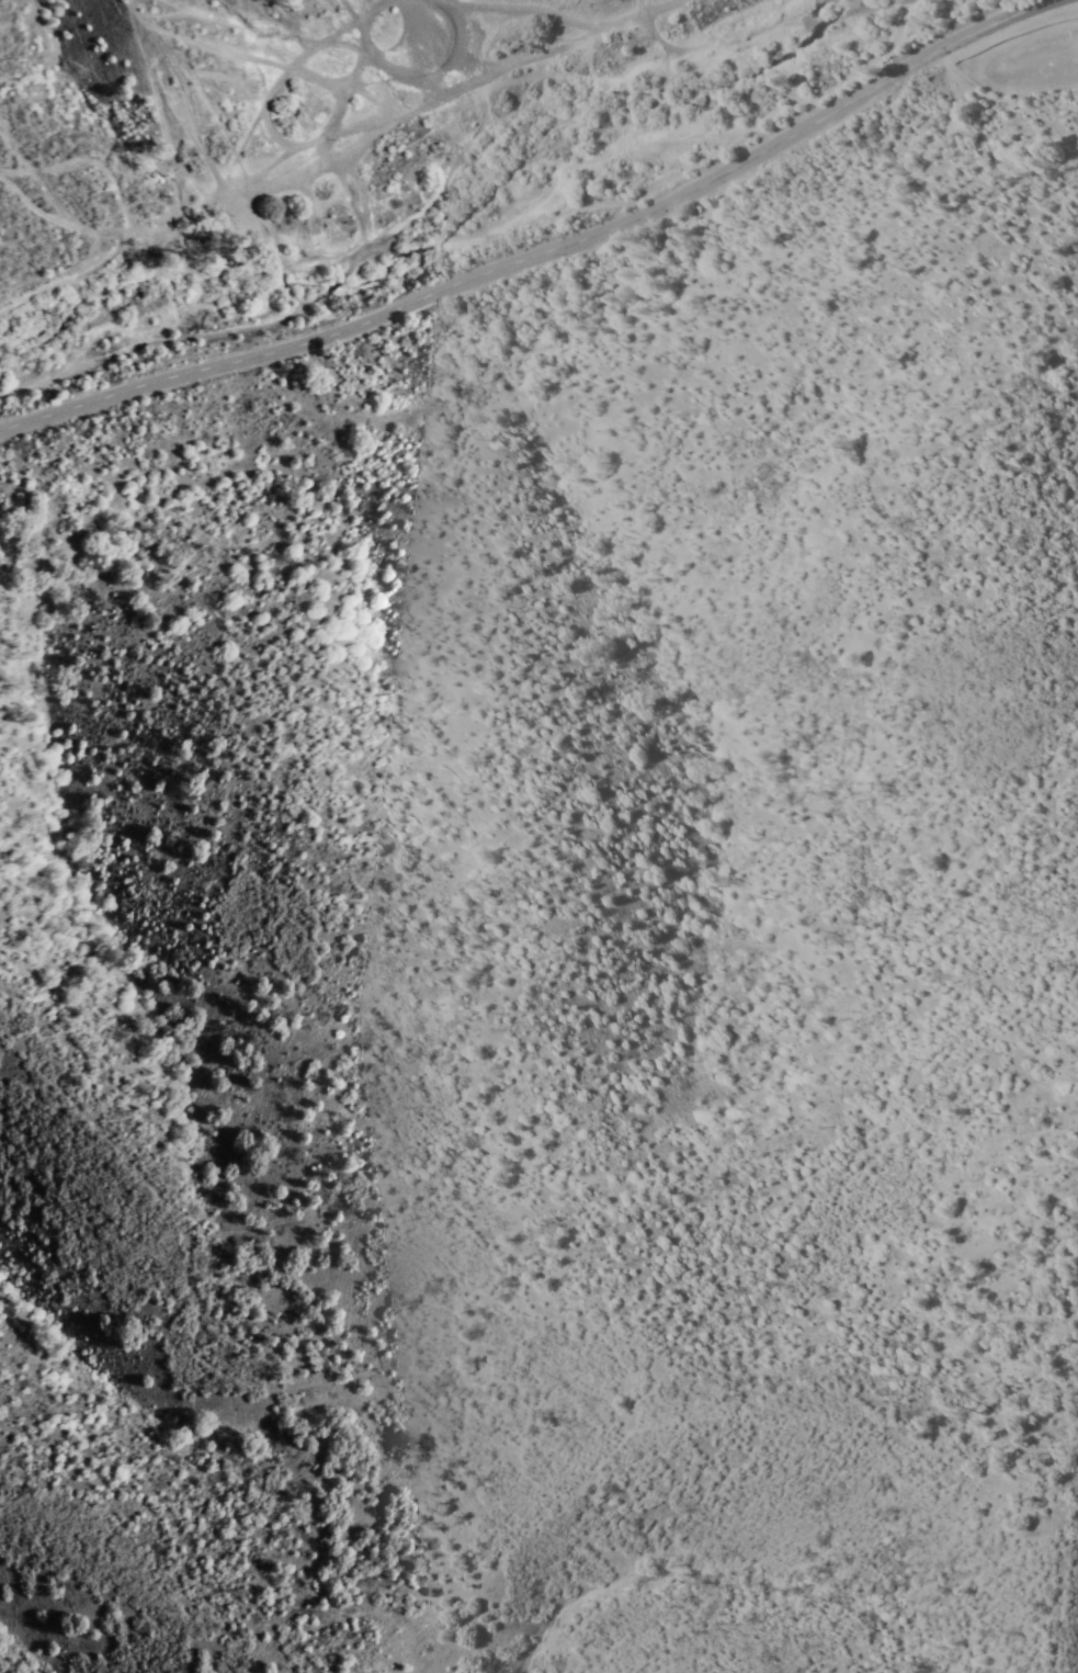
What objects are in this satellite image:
road: (363, 142)
road: (110, 213)
road: (65, 250)
road: (541, 252)

